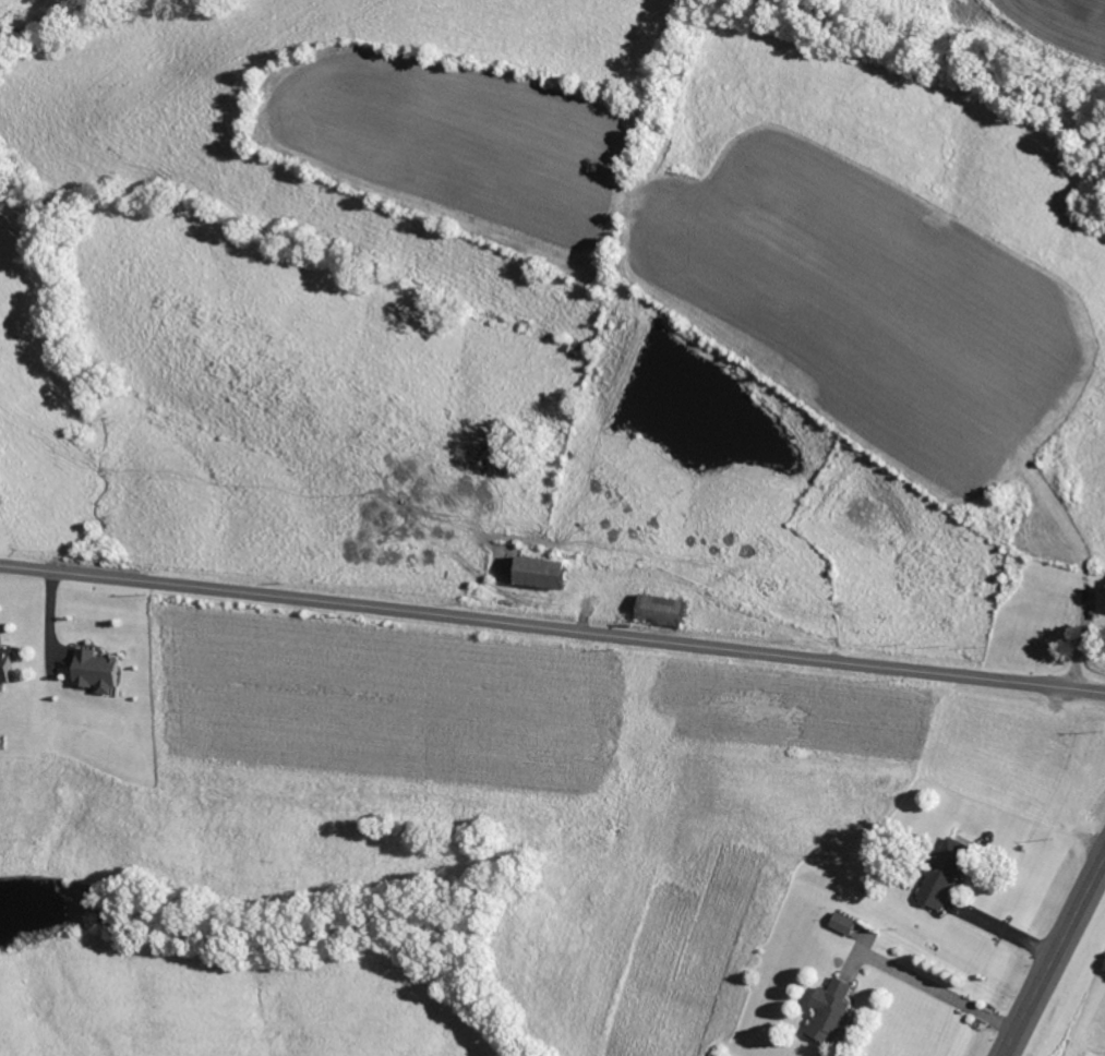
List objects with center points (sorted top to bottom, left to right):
crop: (457, 135)
crop: (863, 301)
building: (544, 572)
building: (664, 609)
road: (552, 624)
building: (100, 671)
building: (950, 874)
building: (848, 923)
road: (1054, 955)
building: (836, 1011)

